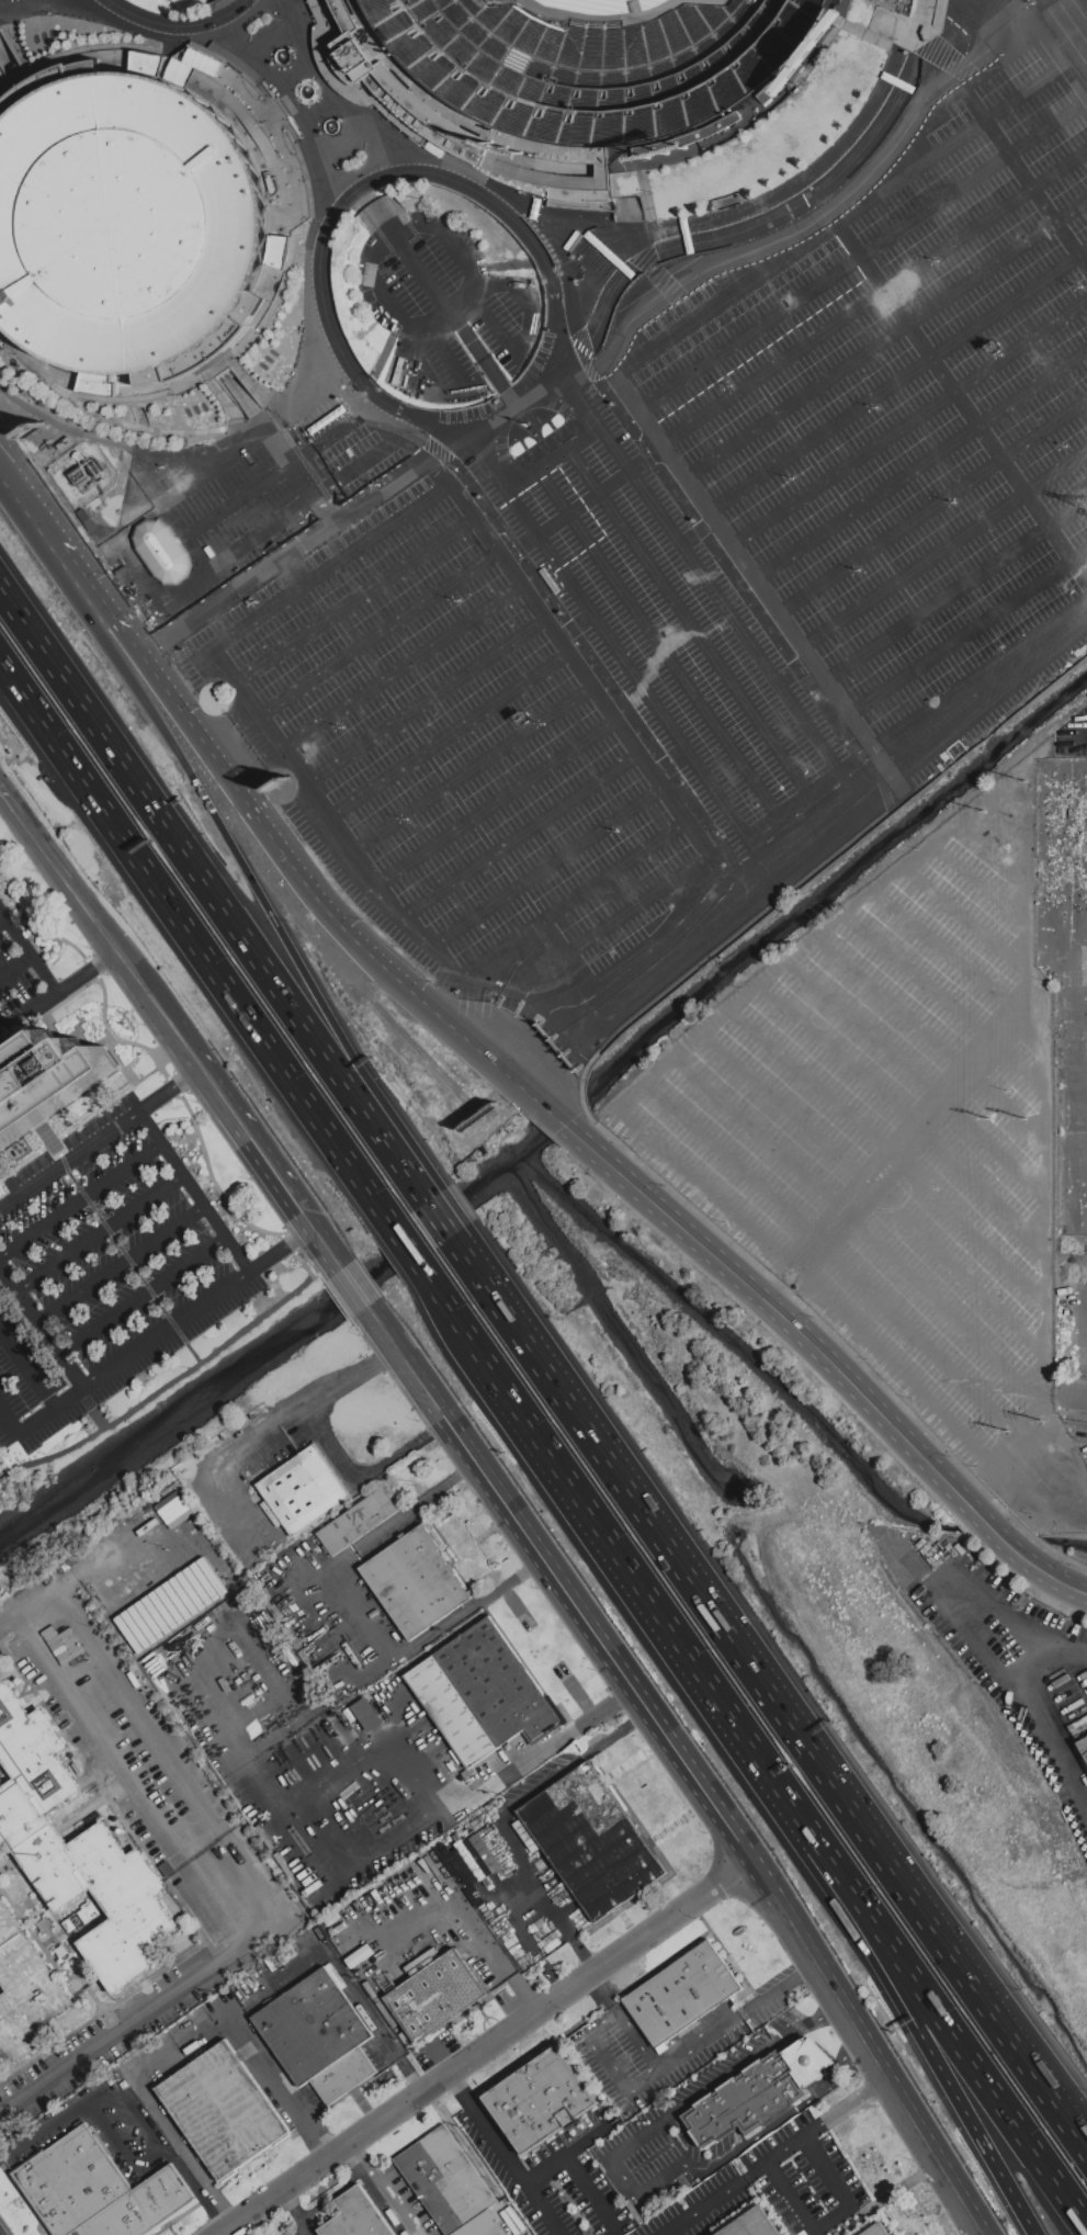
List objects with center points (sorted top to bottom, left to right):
park: (612, 9)
building: (912, 21)
stadium: (912, 21)
road: (183, 27)
road: (1035, 32)
road: (926, 36)
road: (19, 44)
road: (9, 58)
building: (567, 77)
stadium: (567, 77)
road: (9, 79)
building: (775, 88)
road: (14, 95)
road: (293, 97)
road: (949, 99)
road: (295, 104)
road: (338, 111)
road: (973, 129)
road: (364, 191)
road: (796, 213)
road: (301, 223)
building: (129, 226)
stadium: (129, 226)
road: (861, 257)
road: (924, 263)
road: (503, 281)
road: (449, 304)
road: (444, 319)
road: (492, 327)
road: (885, 340)
road: (444, 353)
road: (557, 379)
road: (897, 383)
road: (193, 387)
road: (958, 392)
road: (962, 398)
road: (711, 410)
road: (506, 416)
road: (258, 426)
road: (150, 430)
road: (395, 433)
road: (469, 436)
road: (247, 445)
road: (284, 449)
road: (555, 454)
road: (921, 470)
road: (585, 473)
road: (273, 474)
road: (551, 490)
road: (695, 494)
road: (846, 506)
road: (933, 510)
road: (27, 511)
road: (565, 511)
road: (781, 515)
road: (268, 529)
road: (115, 532)
road: (318, 538)
road: (946, 551)
building: (159, 552)
road: (200, 552)
parking lot: (677, 566)
road: (73, 574)
road: (955, 589)
road: (353, 599)
road: (263, 614)
road: (115, 630)
road: (377, 633)
road: (970, 635)
road: (154, 651)
road: (354, 656)
road: (717, 656)
road: (401, 668)
road: (687, 679)
road: (423, 699)
road: (170, 700)
road: (446, 737)
road: (1082, 737)
road: (469, 770)
power tower: (1028, 782)
road: (492, 802)
power tower: (985, 811)
road: (35, 832)
road: (521, 837)
road: (805, 849)
road: (705, 860)
road: (547, 869)
road: (614, 873)
road: (983, 888)
road: (214, 893)
road: (264, 898)
road: (2, 919)
road: (350, 926)
road: (967, 930)
road: (831, 933)
road: (420, 938)
road: (197, 942)
road: (29, 951)
road: (610, 966)
road: (16, 967)
road: (133, 967)
parking lot: (20, 968)
road: (949, 971)
road: (60, 991)
road: (895, 1020)
road: (861, 1052)
road: (834, 1079)
building: (47, 1081)
road: (530, 1093)
road: (1041, 1105)
road: (804, 1106)
road: (555, 1116)
power tower: (1028, 1119)
road: (241, 1120)
road: (1010, 1120)
power tower: (992, 1121)
road: (149, 1128)
road: (773, 1135)
road: (101, 1138)
parking lot: (904, 1142)
road: (995, 1166)
building: (0, 1192)
road: (80, 1199)
road: (429, 1205)
road: (204, 1208)
road: (983, 1208)
road: (444, 1227)
road: (314, 1228)
road: (100, 1231)
road: (411, 1249)
road: (967, 1256)
road: (856, 1262)
road: (134, 1263)
road: (123, 1265)
parking lot: (105, 1271)
road: (788, 1286)
road: (358, 1289)
road: (143, 1294)
road: (960, 1302)
road: (453, 1309)
road: (43, 1322)
road: (167, 1331)
road: (834, 1363)
road: (27, 1365)
road: (175, 1380)
road: (1072, 1398)
road: (948, 1409)
road: (10, 1419)
power tower: (1044, 1421)
road: (270, 1430)
power tower: (1009, 1431)
road: (364, 1472)
building: (304, 1490)
building: (358, 1522)
road: (663, 1540)
building: (416, 1583)
road: (145, 1591)
road: (657, 1603)
road: (359, 1618)
road: (1029, 1632)
road: (1069, 1651)
road: (998, 1668)
building: (482, 1693)
building: (366, 1714)
building: (1082, 1737)
road: (162, 1760)
road: (683, 1760)
road: (126, 1785)
road: (503, 1833)
building: (592, 1842)
building: (76, 1849)
road: (352, 1873)
road: (472, 1926)
road: (976, 1972)
road: (343, 1977)
road: (976, 1989)
building: (25, 1991)
building: (683, 1994)
building: (435, 1996)
road: (150, 2011)
road: (604, 2025)
road: (722, 2028)
building: (318, 2036)
road: (960, 2040)
road: (488, 2048)
road: (929, 2048)
road: (752, 2055)
road: (271, 2072)
building: (745, 2099)
building: (541, 2100)
road: (845, 2106)
road: (127, 2108)
building: (224, 2111)
road: (786, 2114)
road: (178, 2134)
road: (683, 2138)
road: (120, 2148)
road: (618, 2152)
road: (564, 2155)
road: (501, 2156)
road: (665, 2180)
building: (446, 2181)
road: (734, 2186)
road: (387, 2189)
building: (97, 2191)
road: (375, 2192)
road: (592, 2193)
road: (296, 2214)
building: (356, 2216)
road: (831, 2217)
building: (751, 2224)
road: (503, 2226)
road: (981, 2228)
building: (877, 2231)

